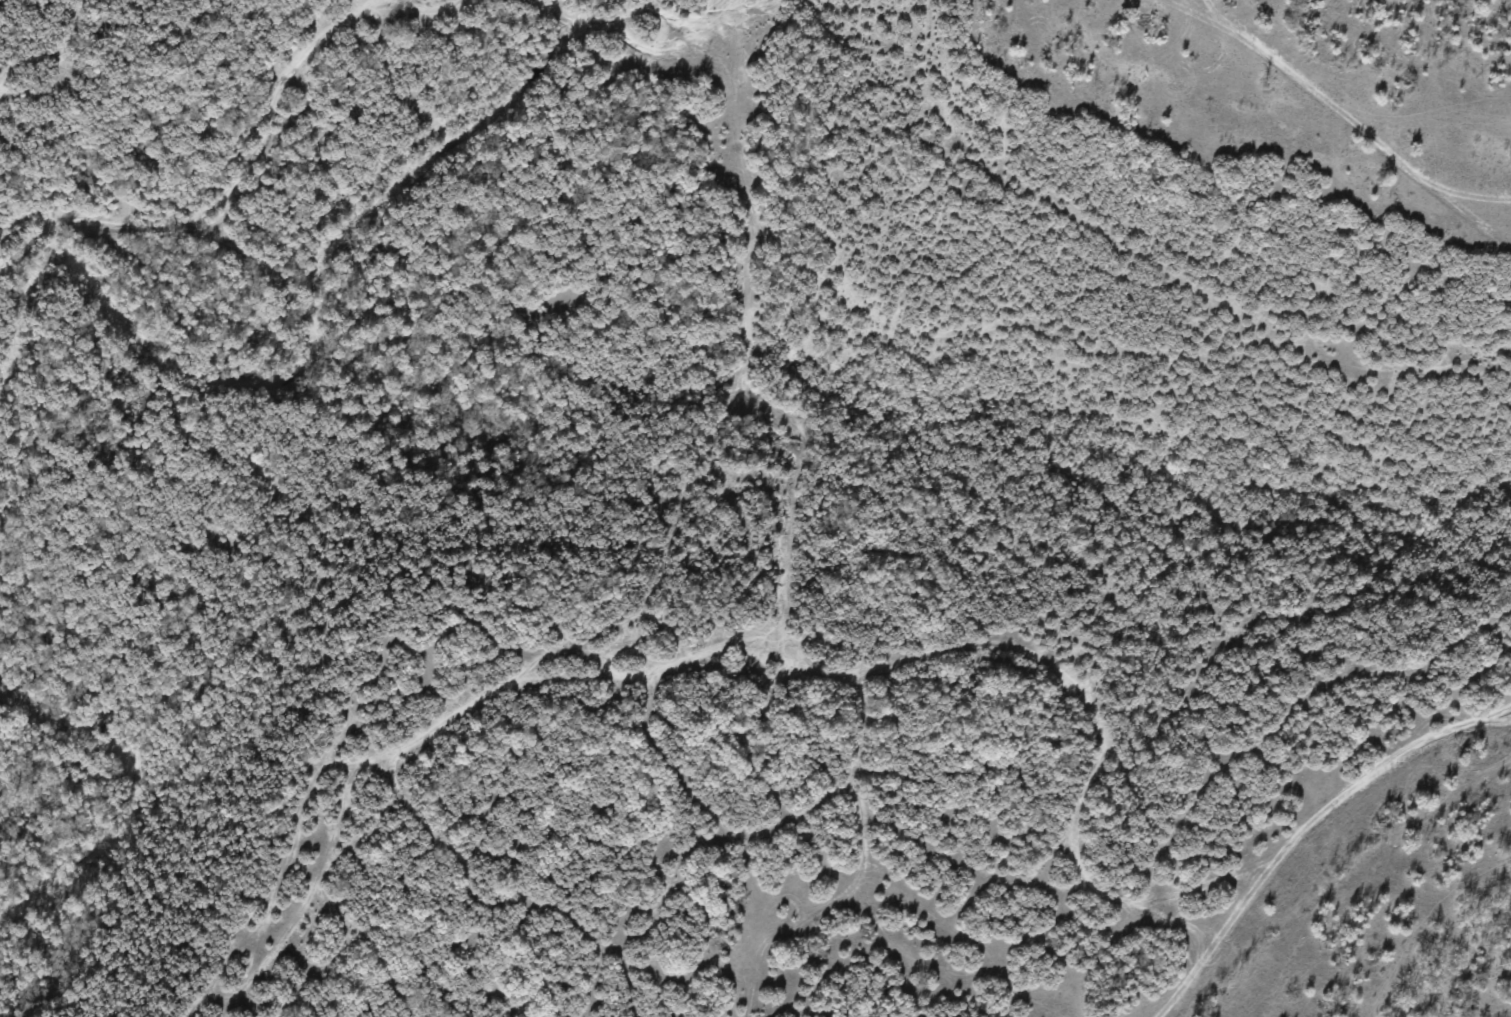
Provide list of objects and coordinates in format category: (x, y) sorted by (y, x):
road: (1406, 85)
road: (866, 545)
road: (1305, 877)

